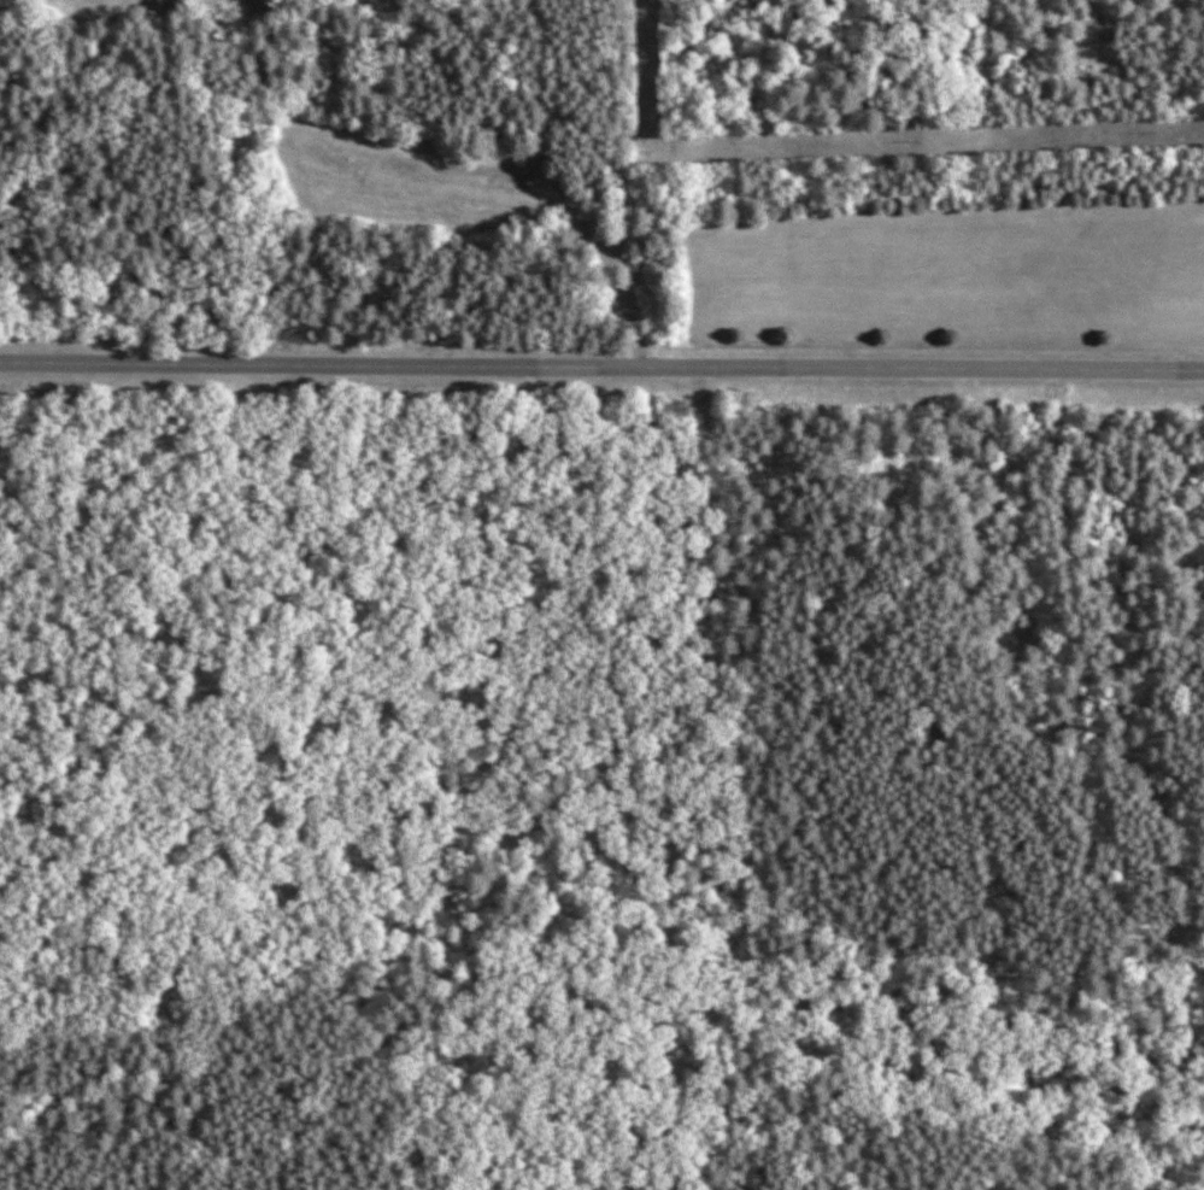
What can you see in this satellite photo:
road: (563, 190)
road: (601, 365)

